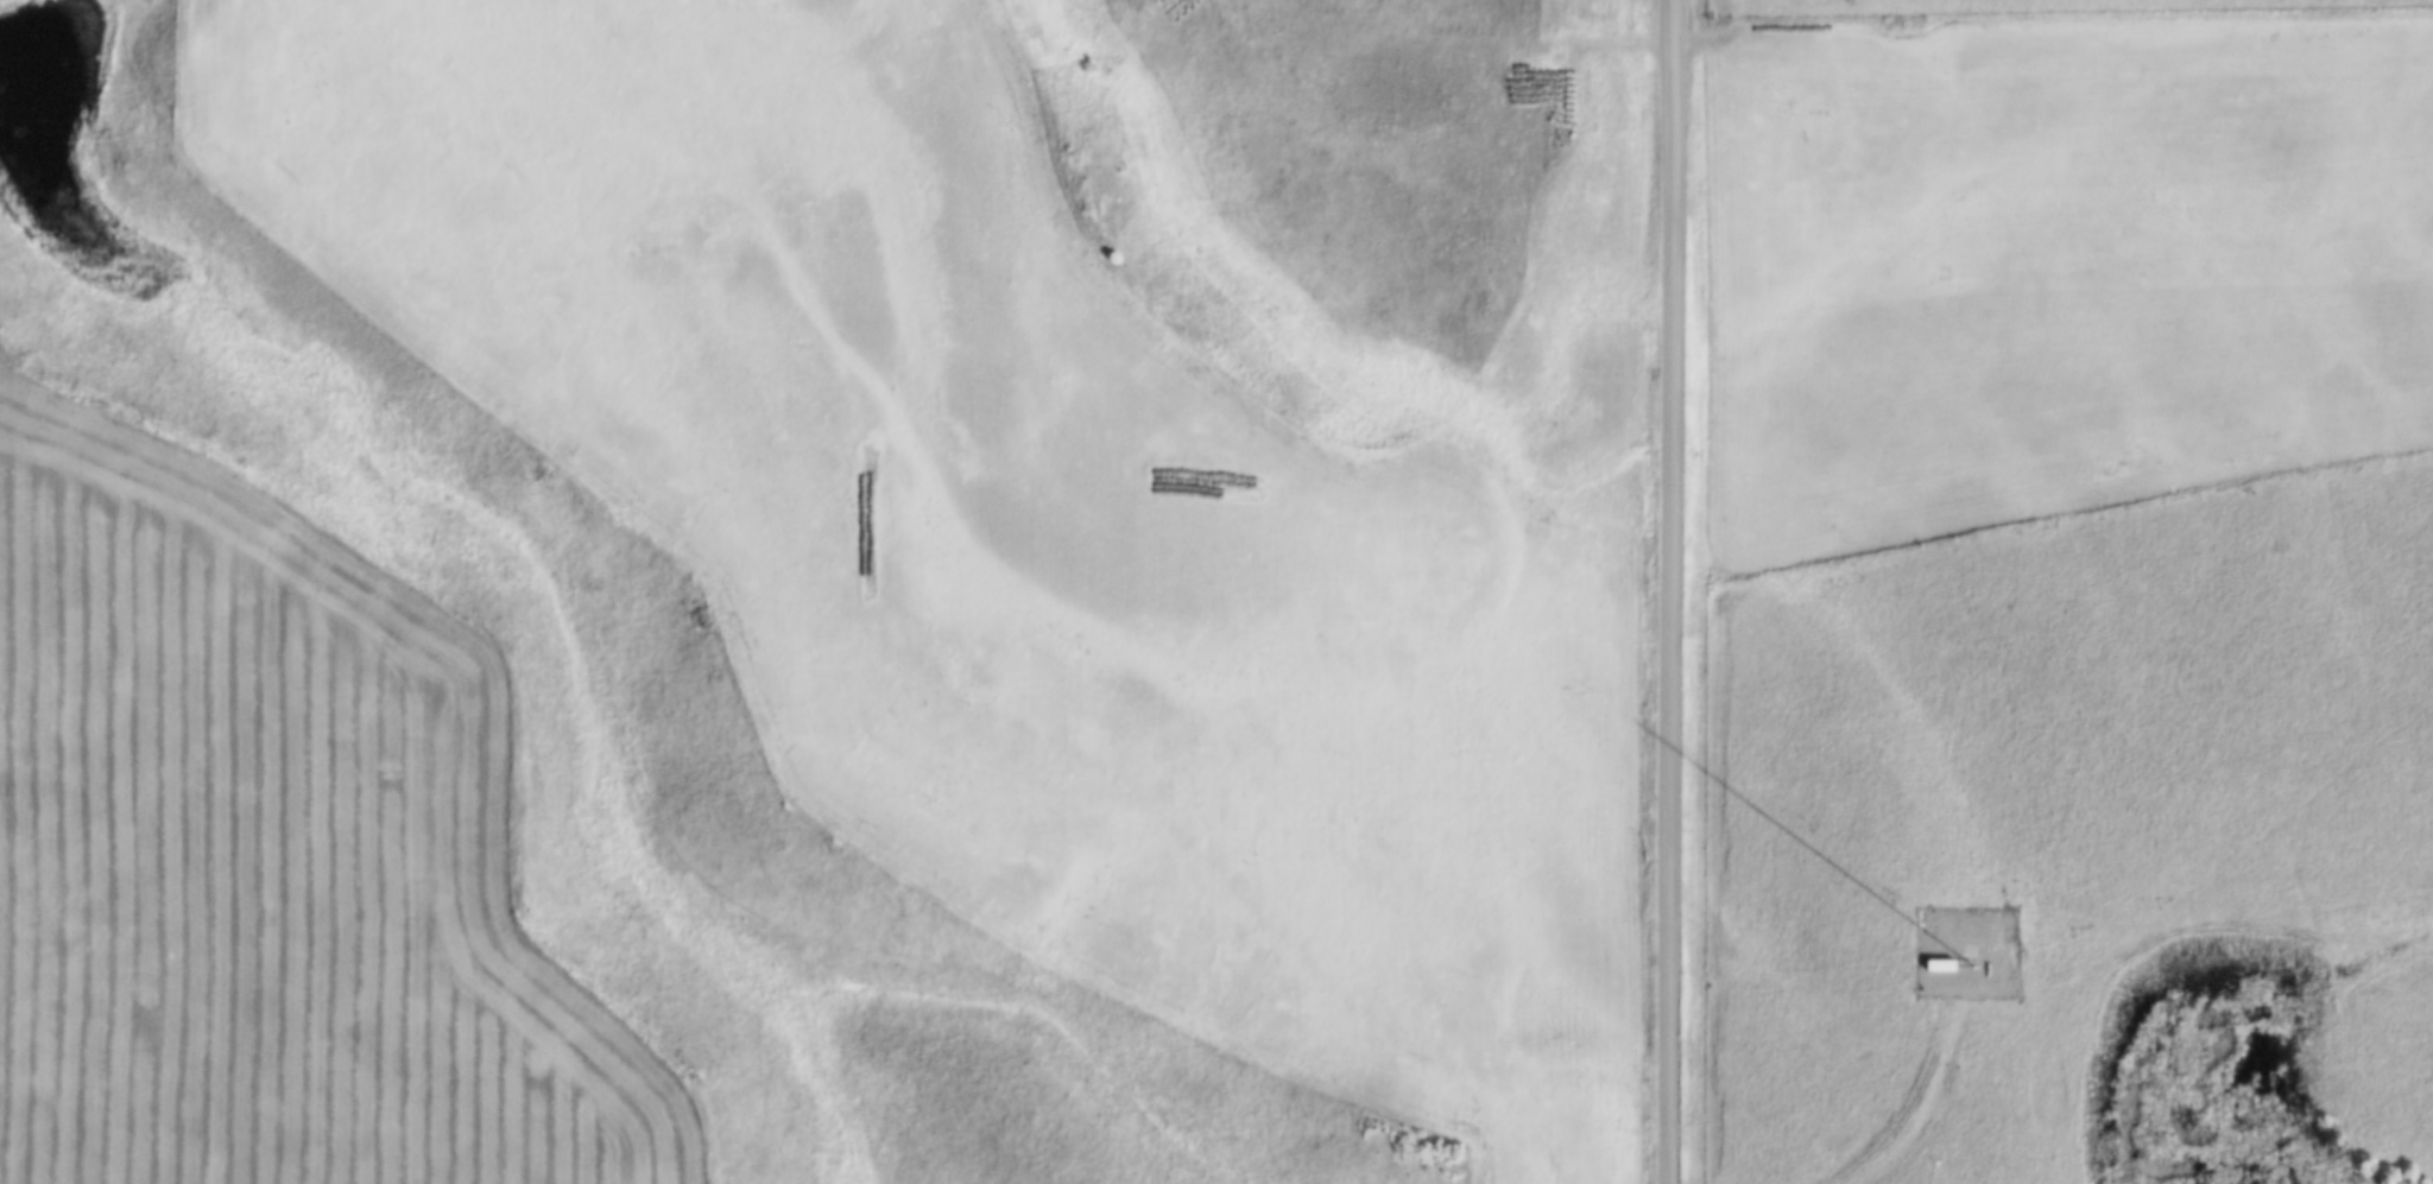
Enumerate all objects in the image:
road: (1680, 591)
building: (1945, 956)
road: (1922, 1114)

